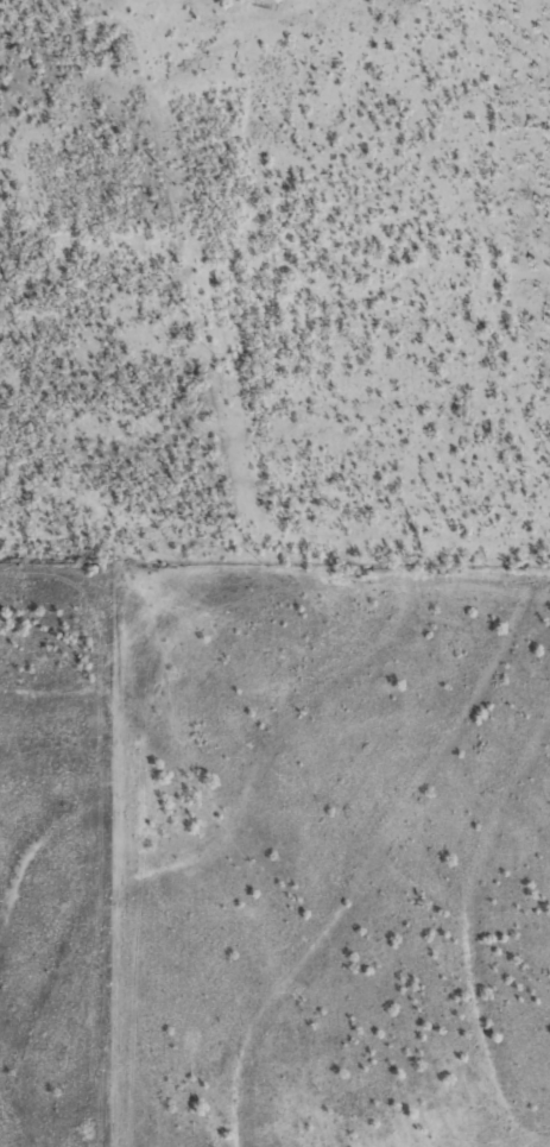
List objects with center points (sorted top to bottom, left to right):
road: (323, 565)

